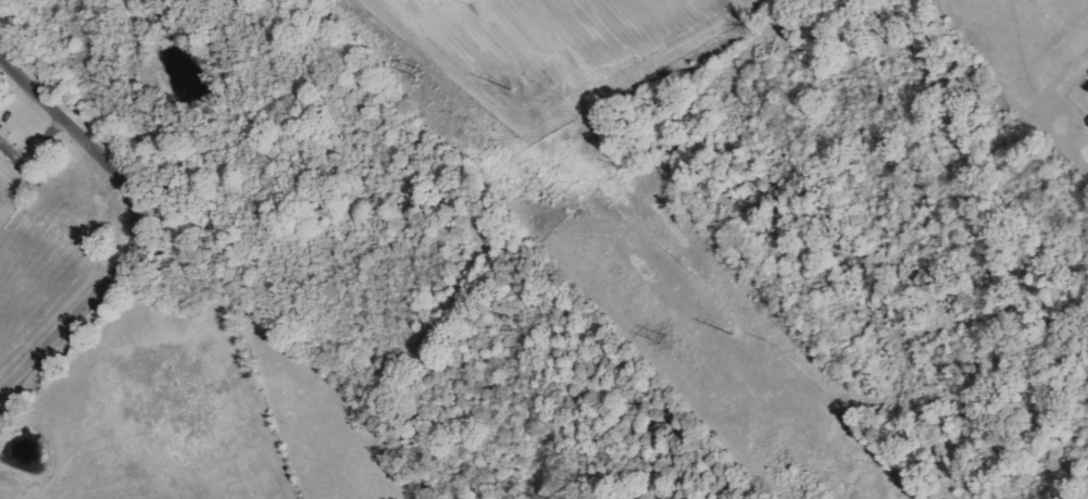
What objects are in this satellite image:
power tower: (414, 73)
power tower: (509, 90)
building: (12, 148)
road: (157, 239)
power tower: (729, 335)
power tower: (655, 340)

